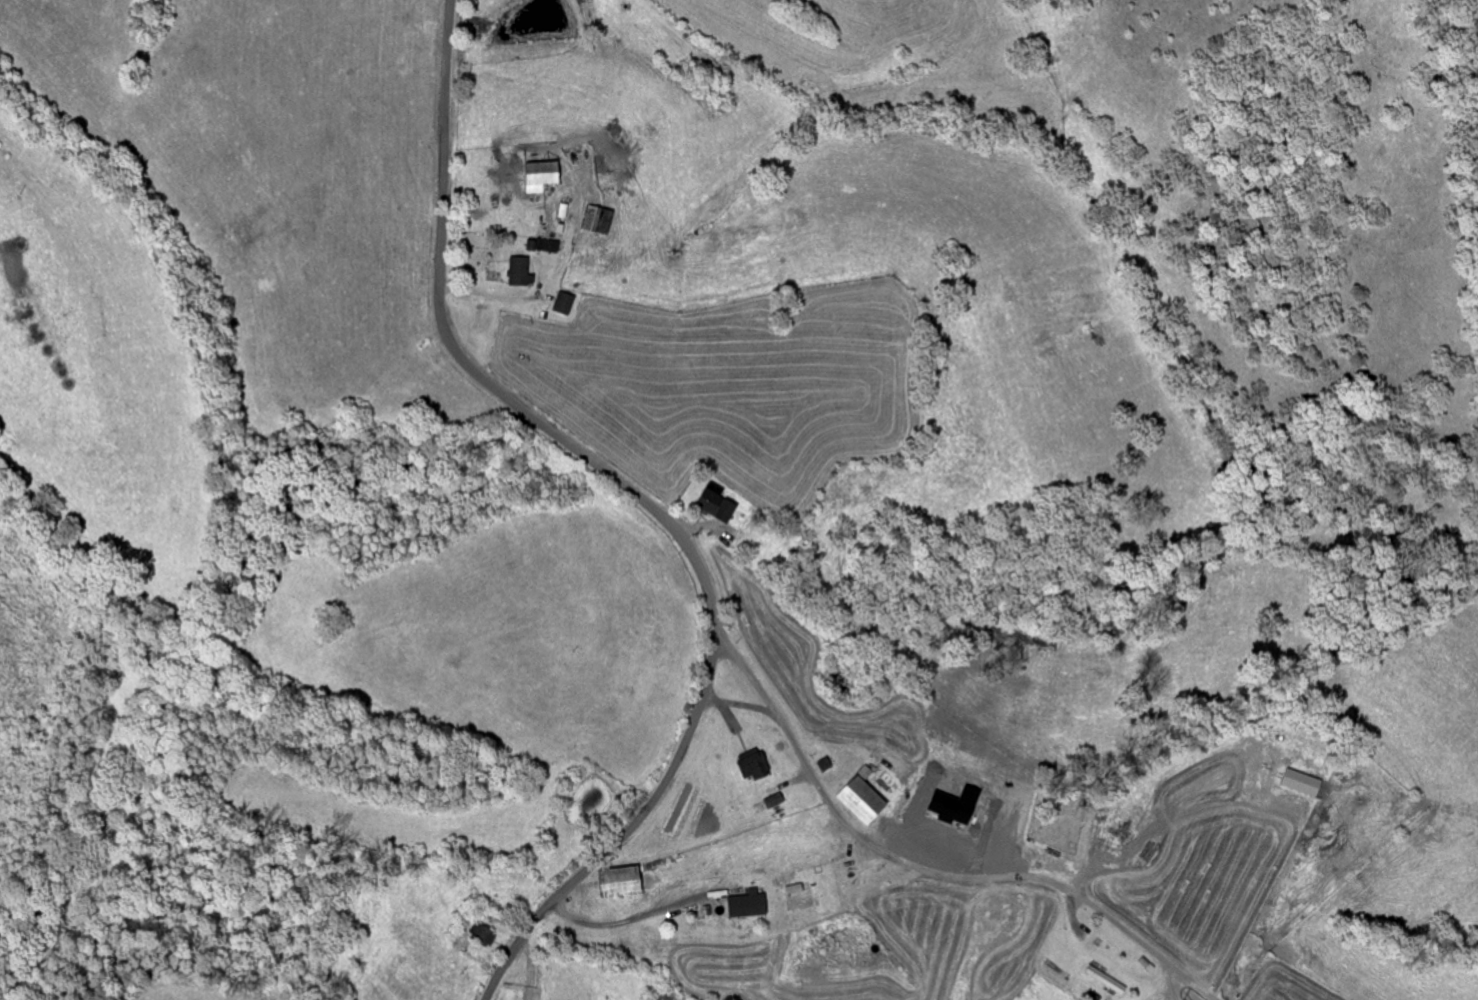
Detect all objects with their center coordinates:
building: (546, 176)
building: (566, 211)
building: (601, 220)
building: (523, 272)
building: (567, 304)
road: (644, 503)
building: (720, 506)
road: (211, 629)
building: (756, 766)
building: (1306, 784)
building: (867, 800)
building: (777, 801)
road: (927, 869)
building: (626, 883)
building: (752, 905)
road: (627, 922)

